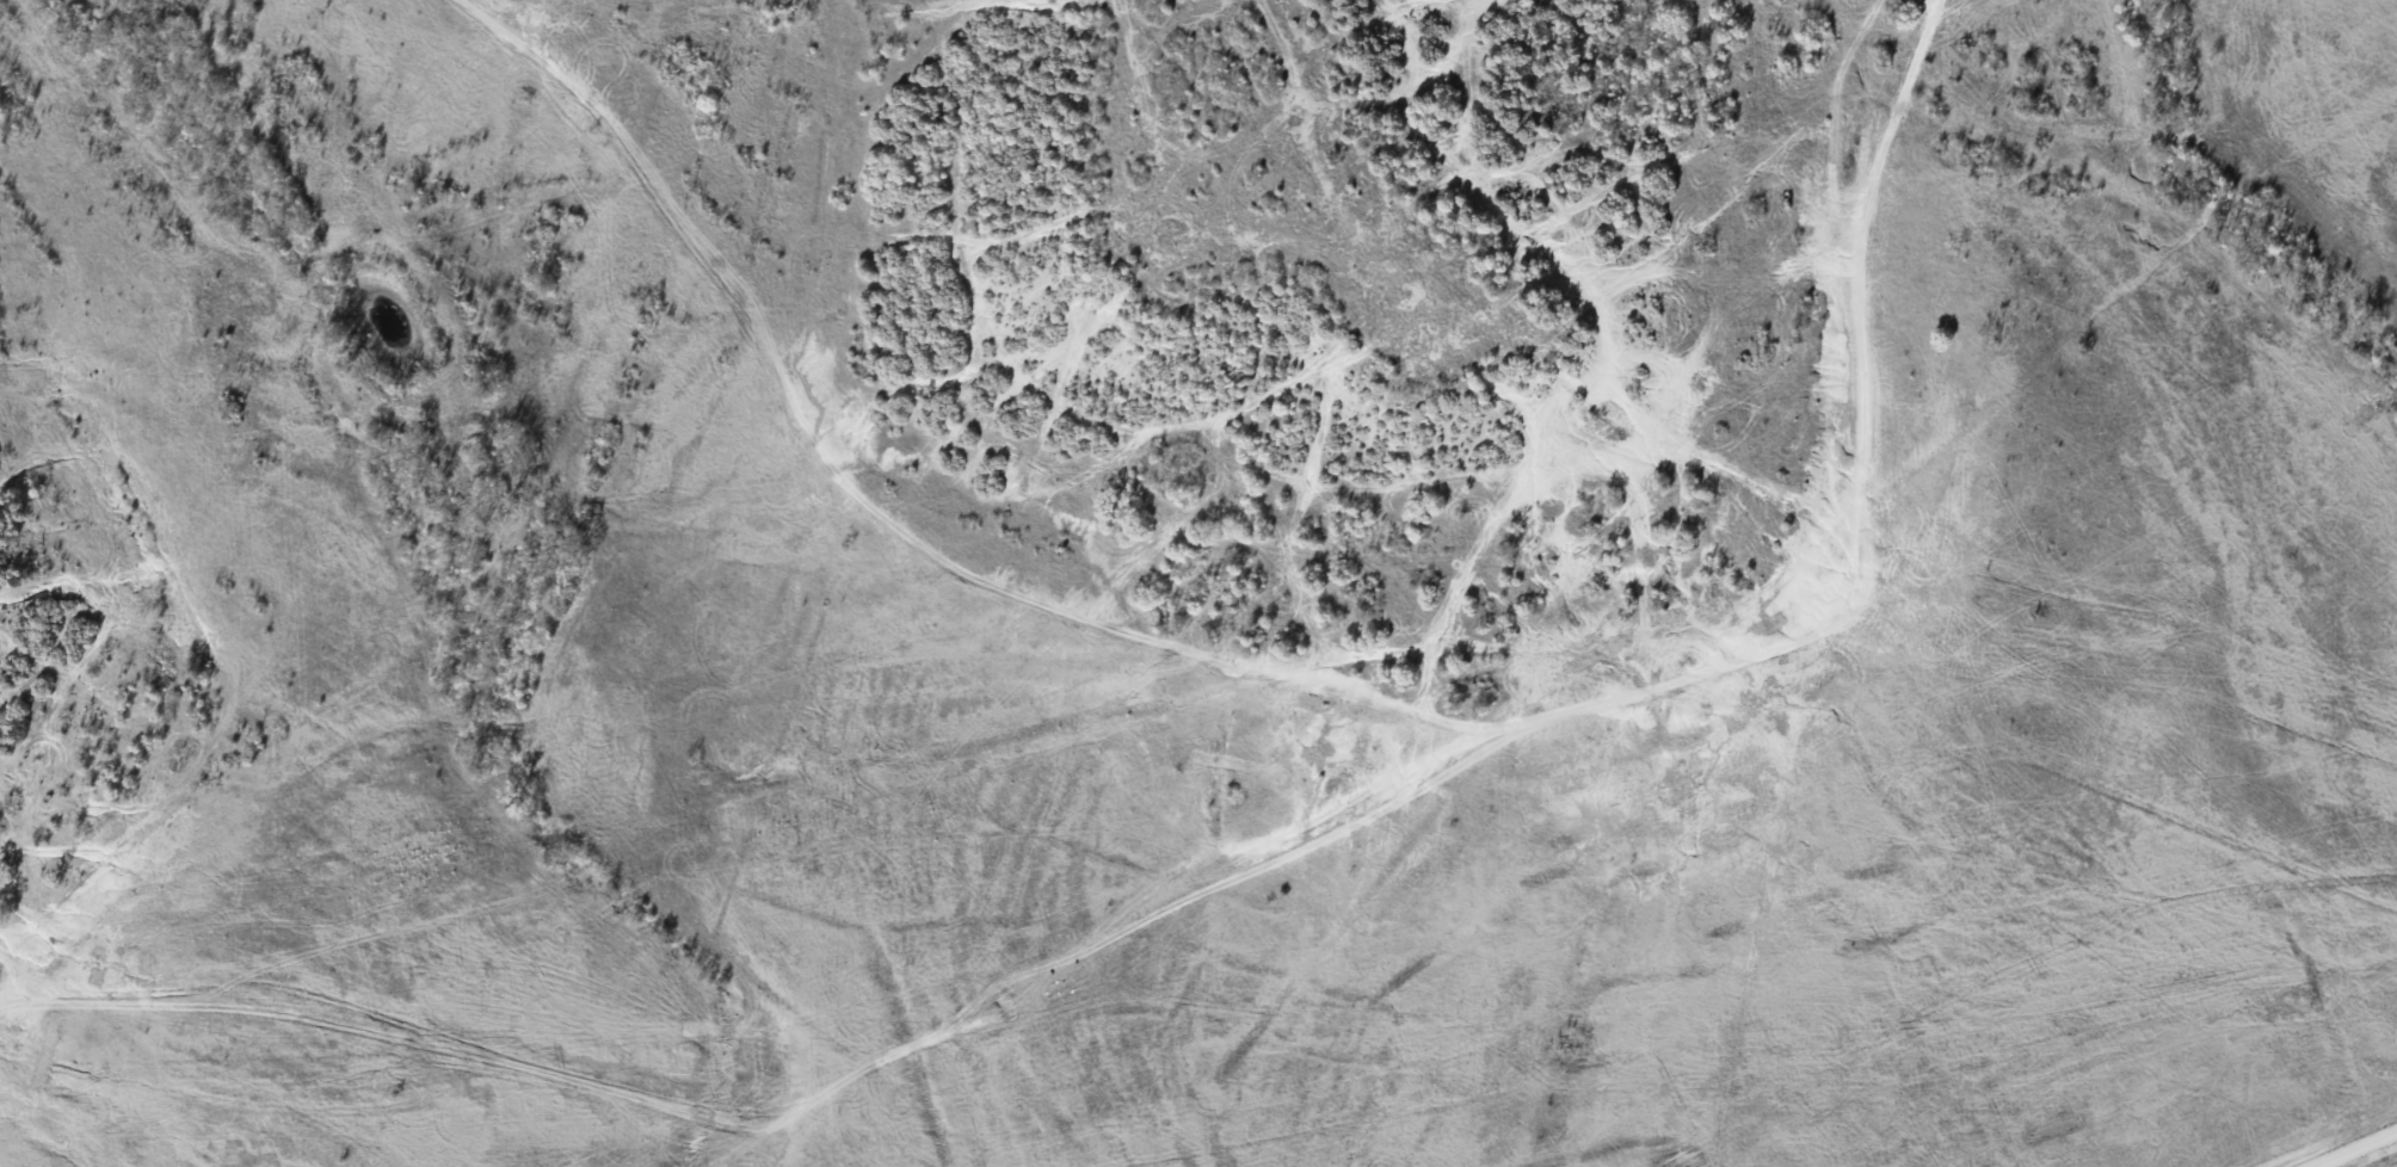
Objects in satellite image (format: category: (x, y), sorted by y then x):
road: (2361, 1151)

